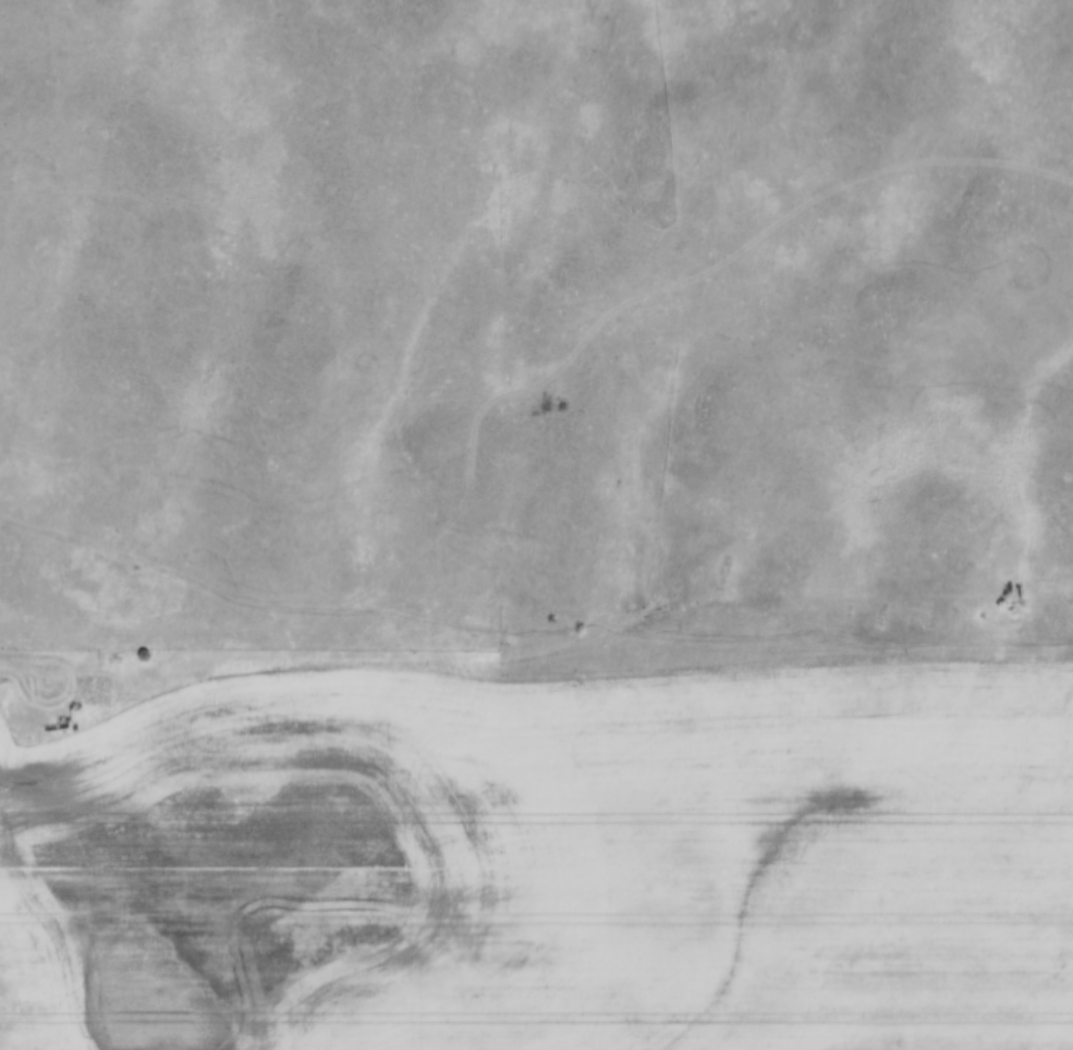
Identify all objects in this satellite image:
crop: (550, 864)

